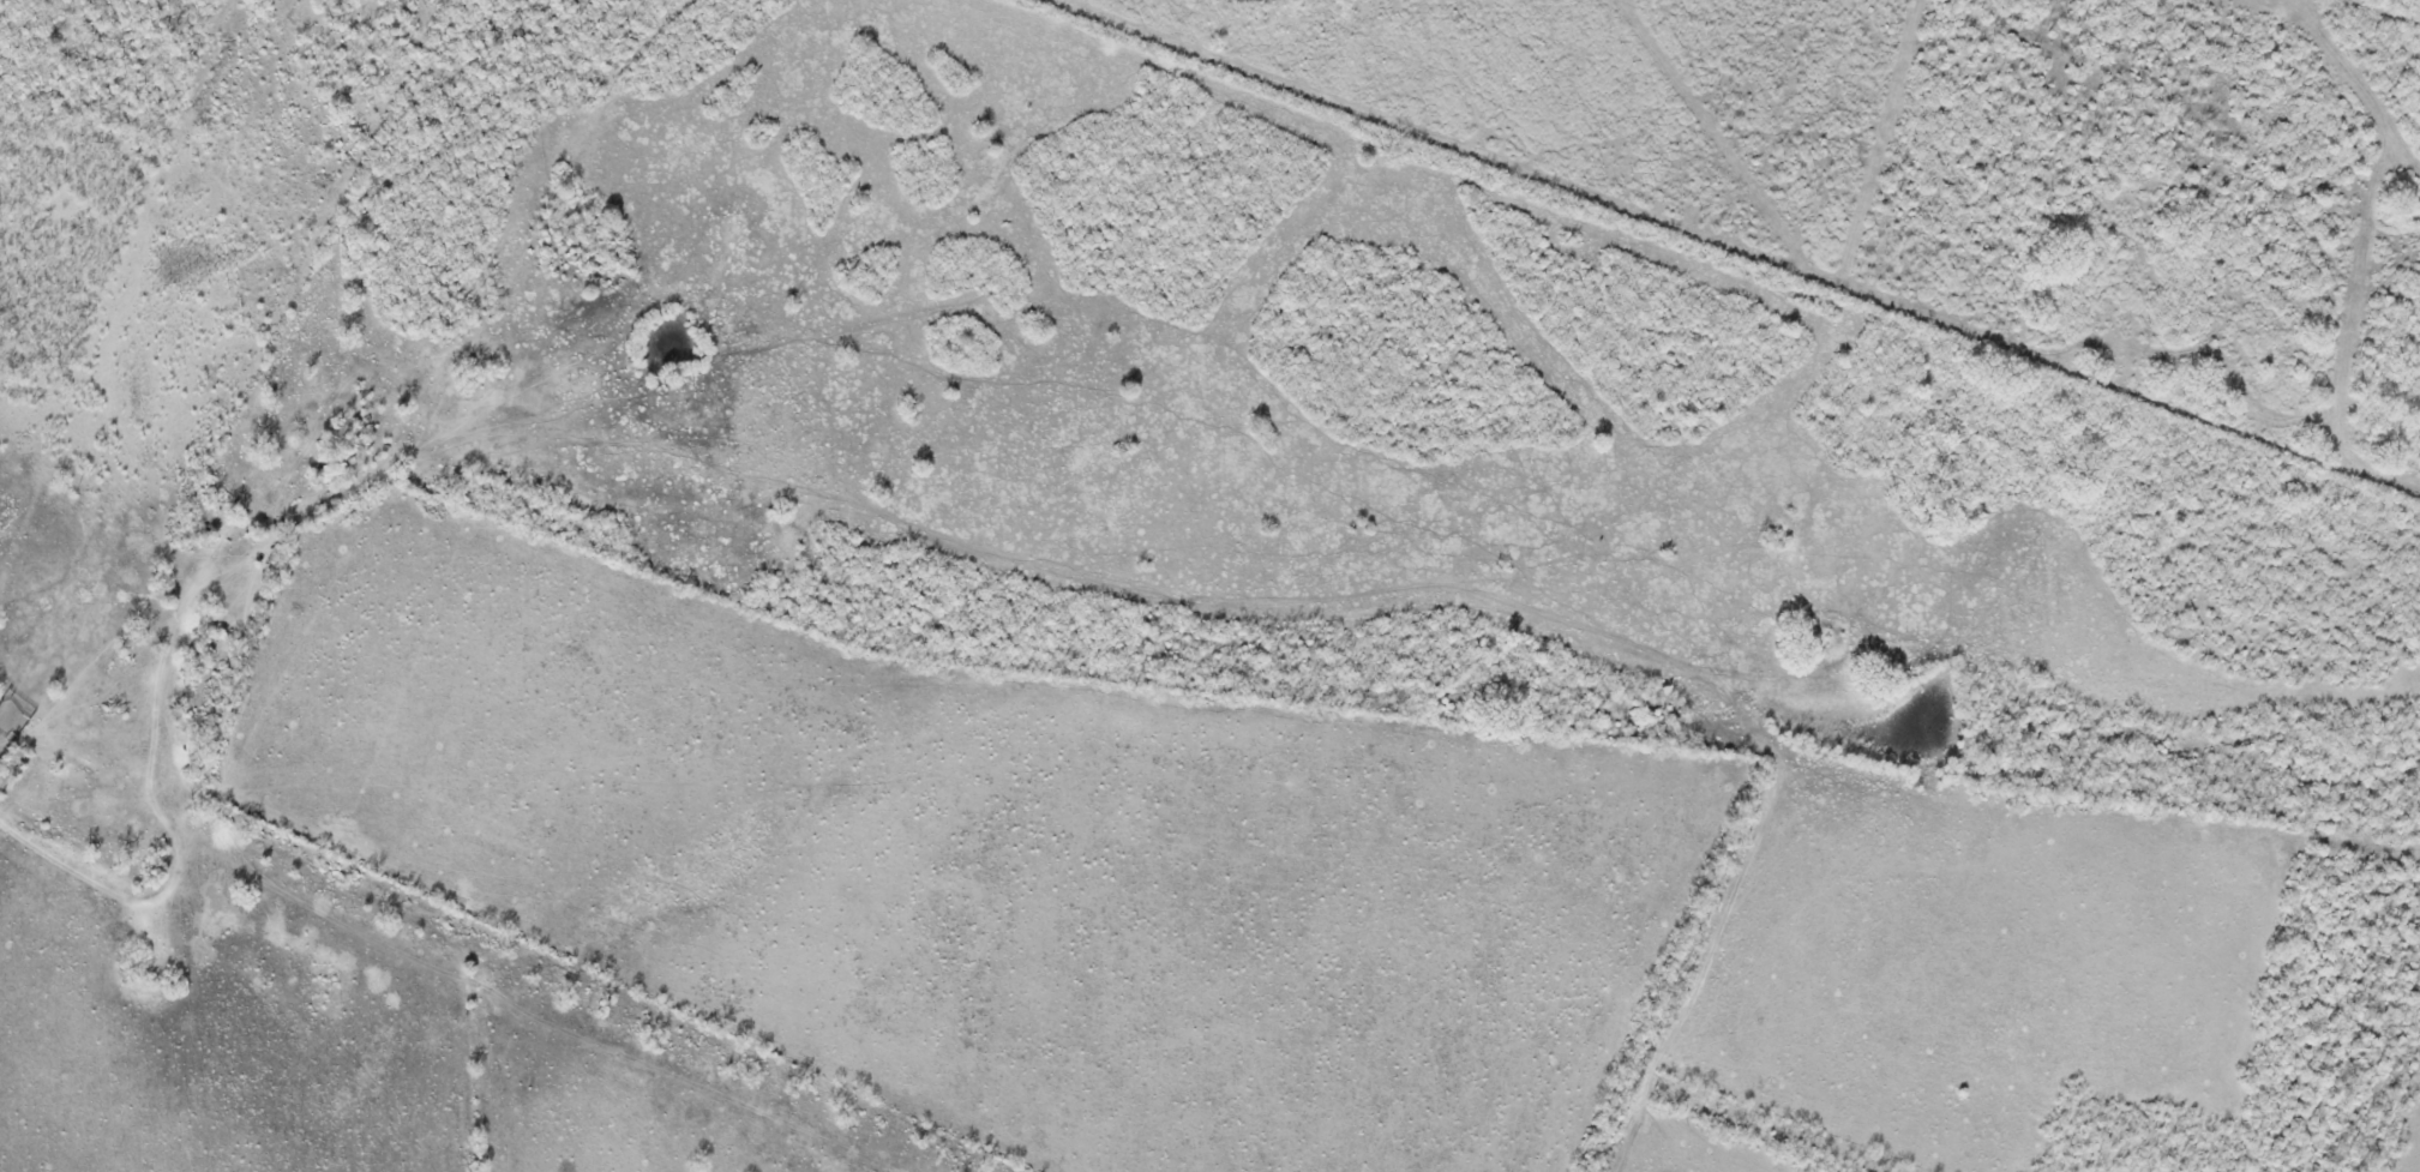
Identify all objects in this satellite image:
building: (334, 471)
road: (154, 774)

